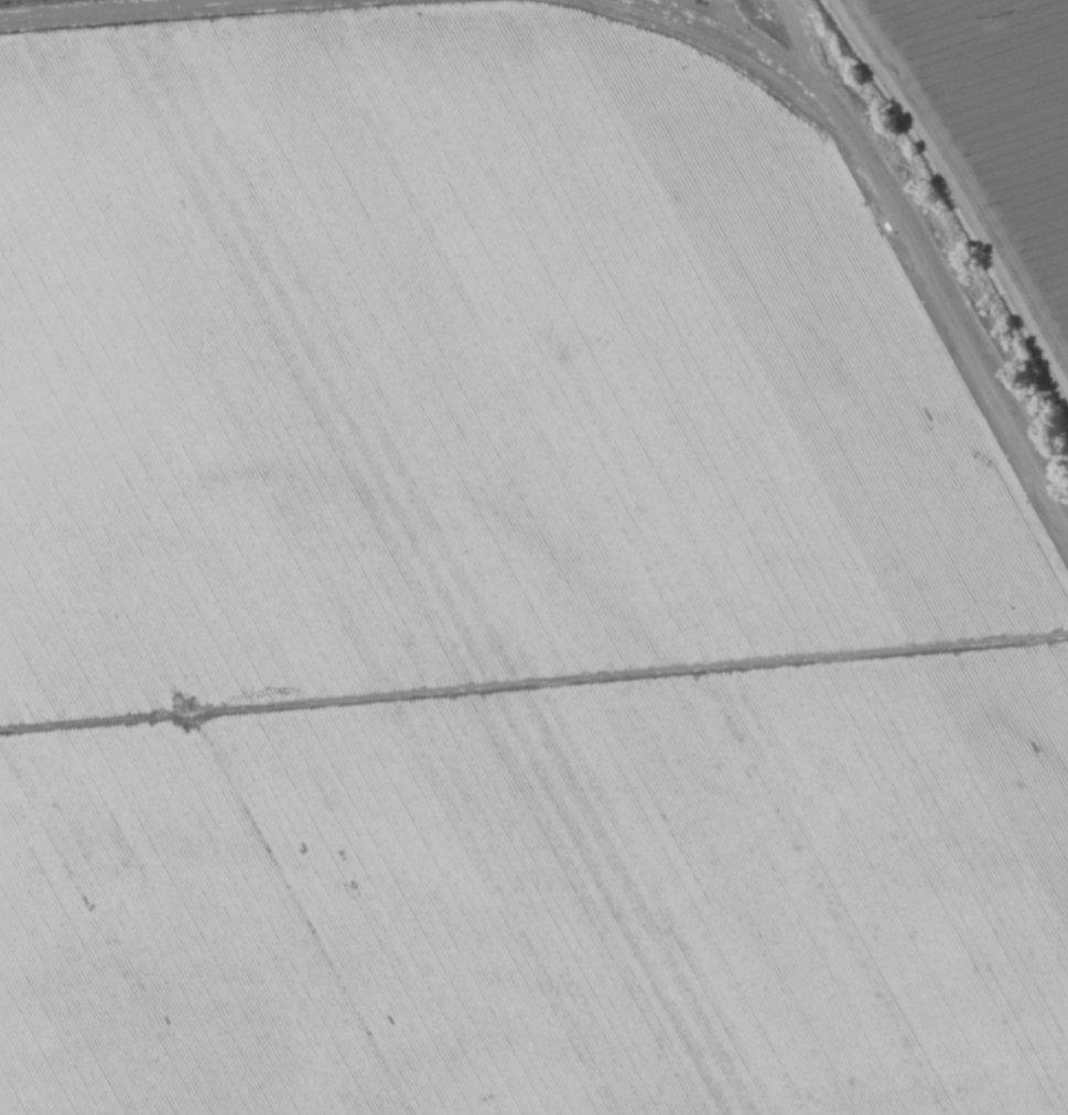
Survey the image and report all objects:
road: (810, 48)
road: (919, 221)

